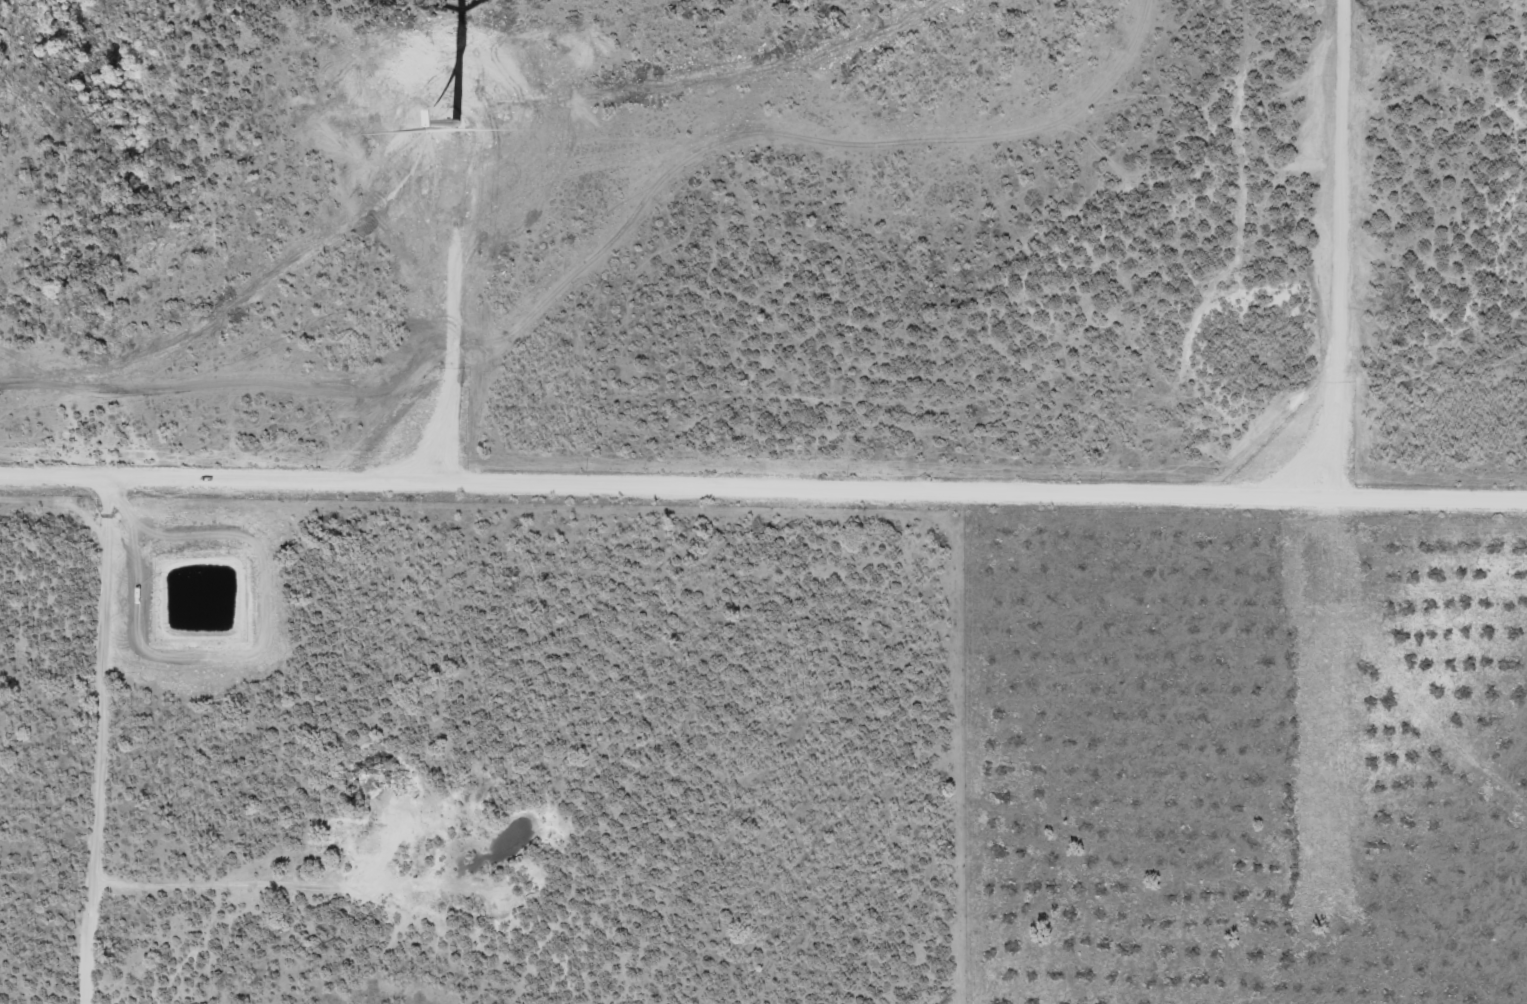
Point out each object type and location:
wind turbine: (453, 116)
road: (1420, 368)
road: (763, 488)
road: (145, 741)

